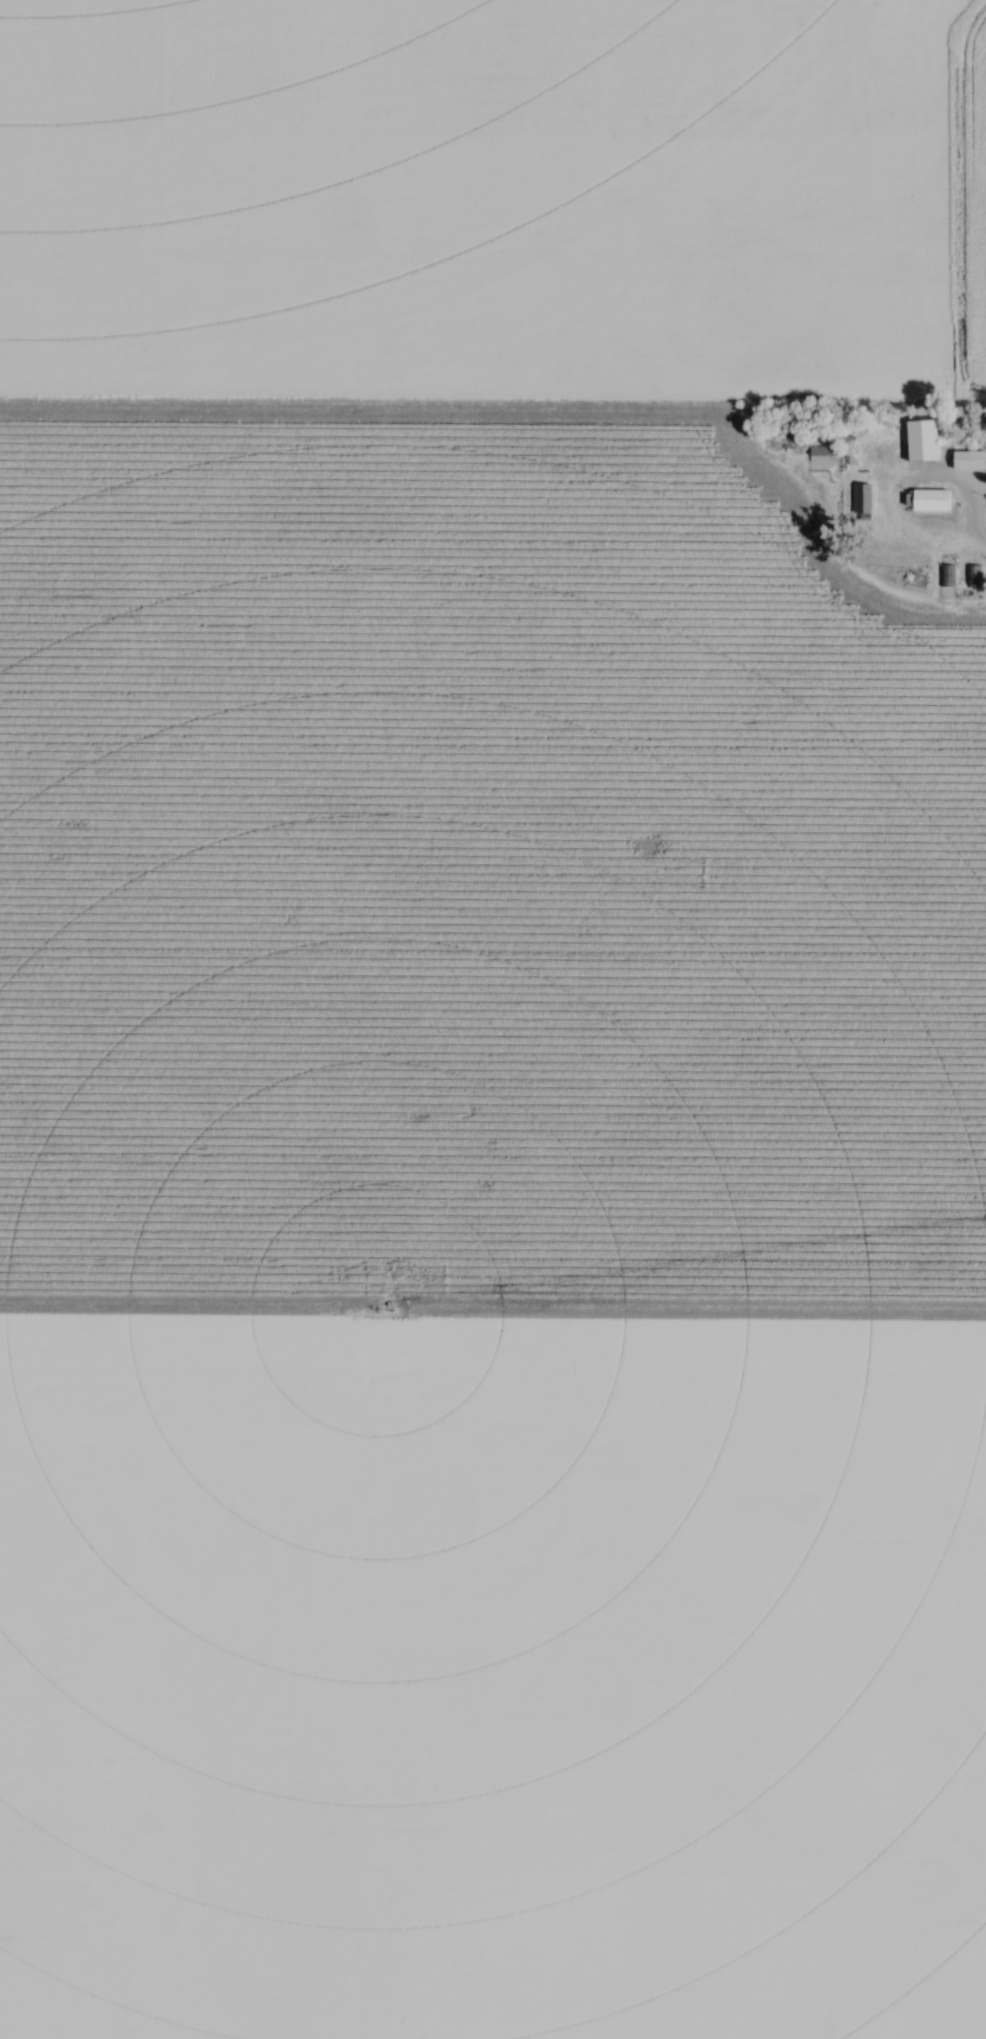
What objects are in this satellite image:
building: (926, 441)
building: (823, 451)
building: (971, 461)
road: (917, 479)
building: (865, 498)
building: (935, 500)
road: (975, 536)
building: (950, 576)
building: (976, 576)
building: (864, 633)

